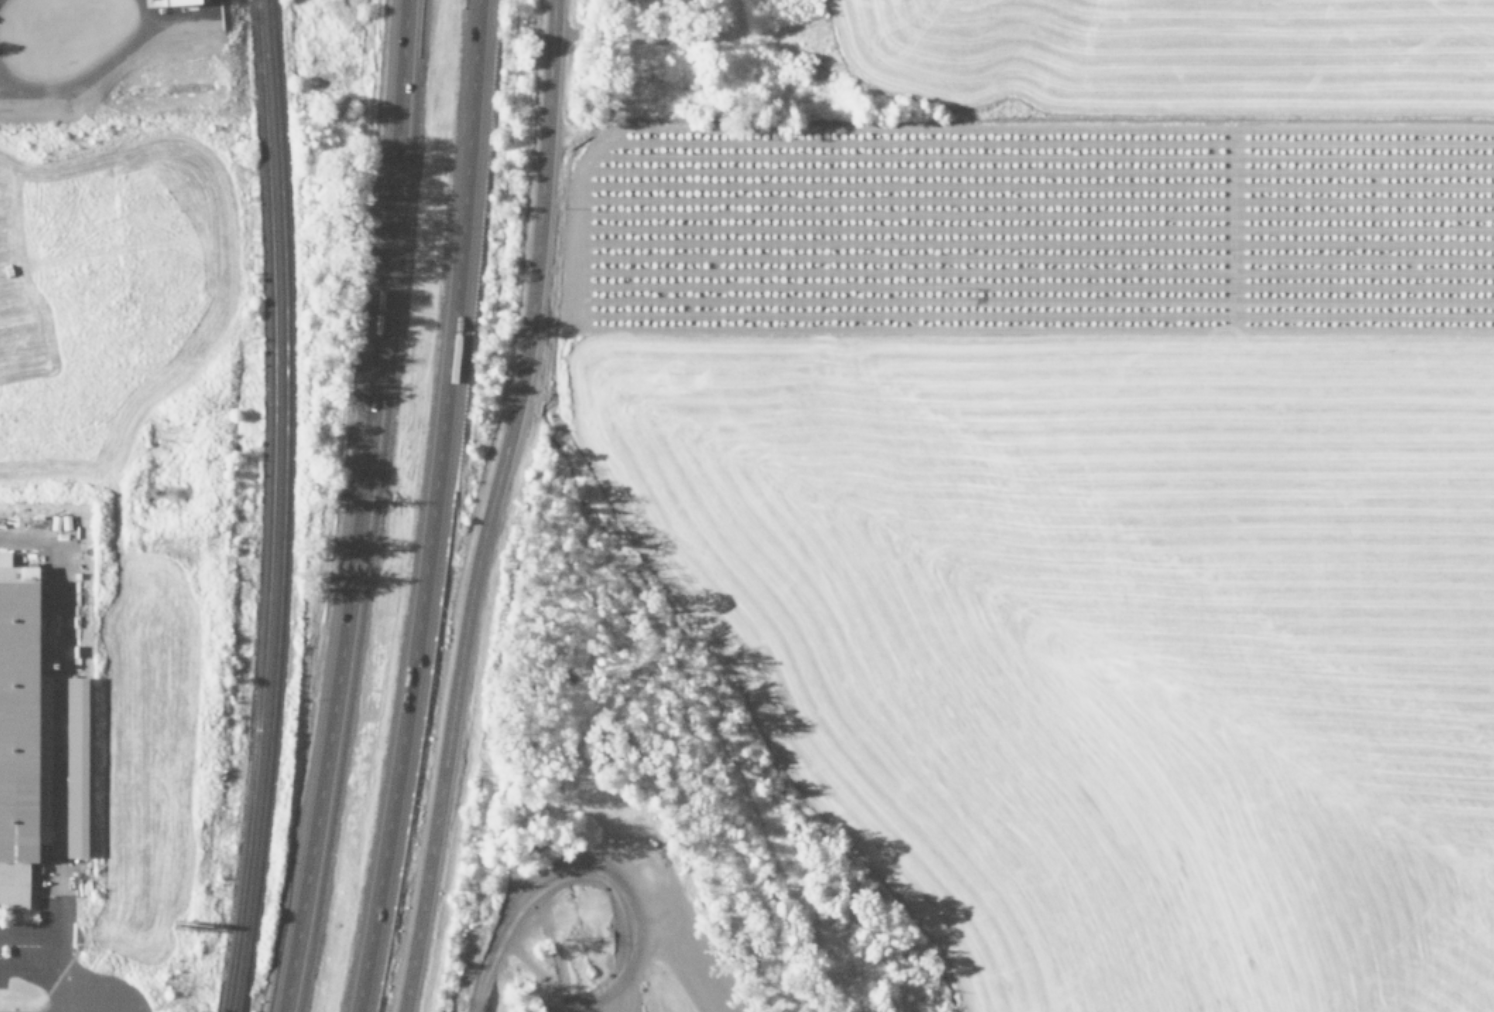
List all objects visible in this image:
building: (179, 1)
crop: (1090, 482)
railway: (281, 506)
road: (490, 506)
railway: (270, 507)
road: (433, 507)
road: (359, 508)
road: (59, 690)
building: (16, 738)
building: (76, 767)
park: (583, 913)
road: (31, 938)
road: (58, 956)
road: (28, 968)

